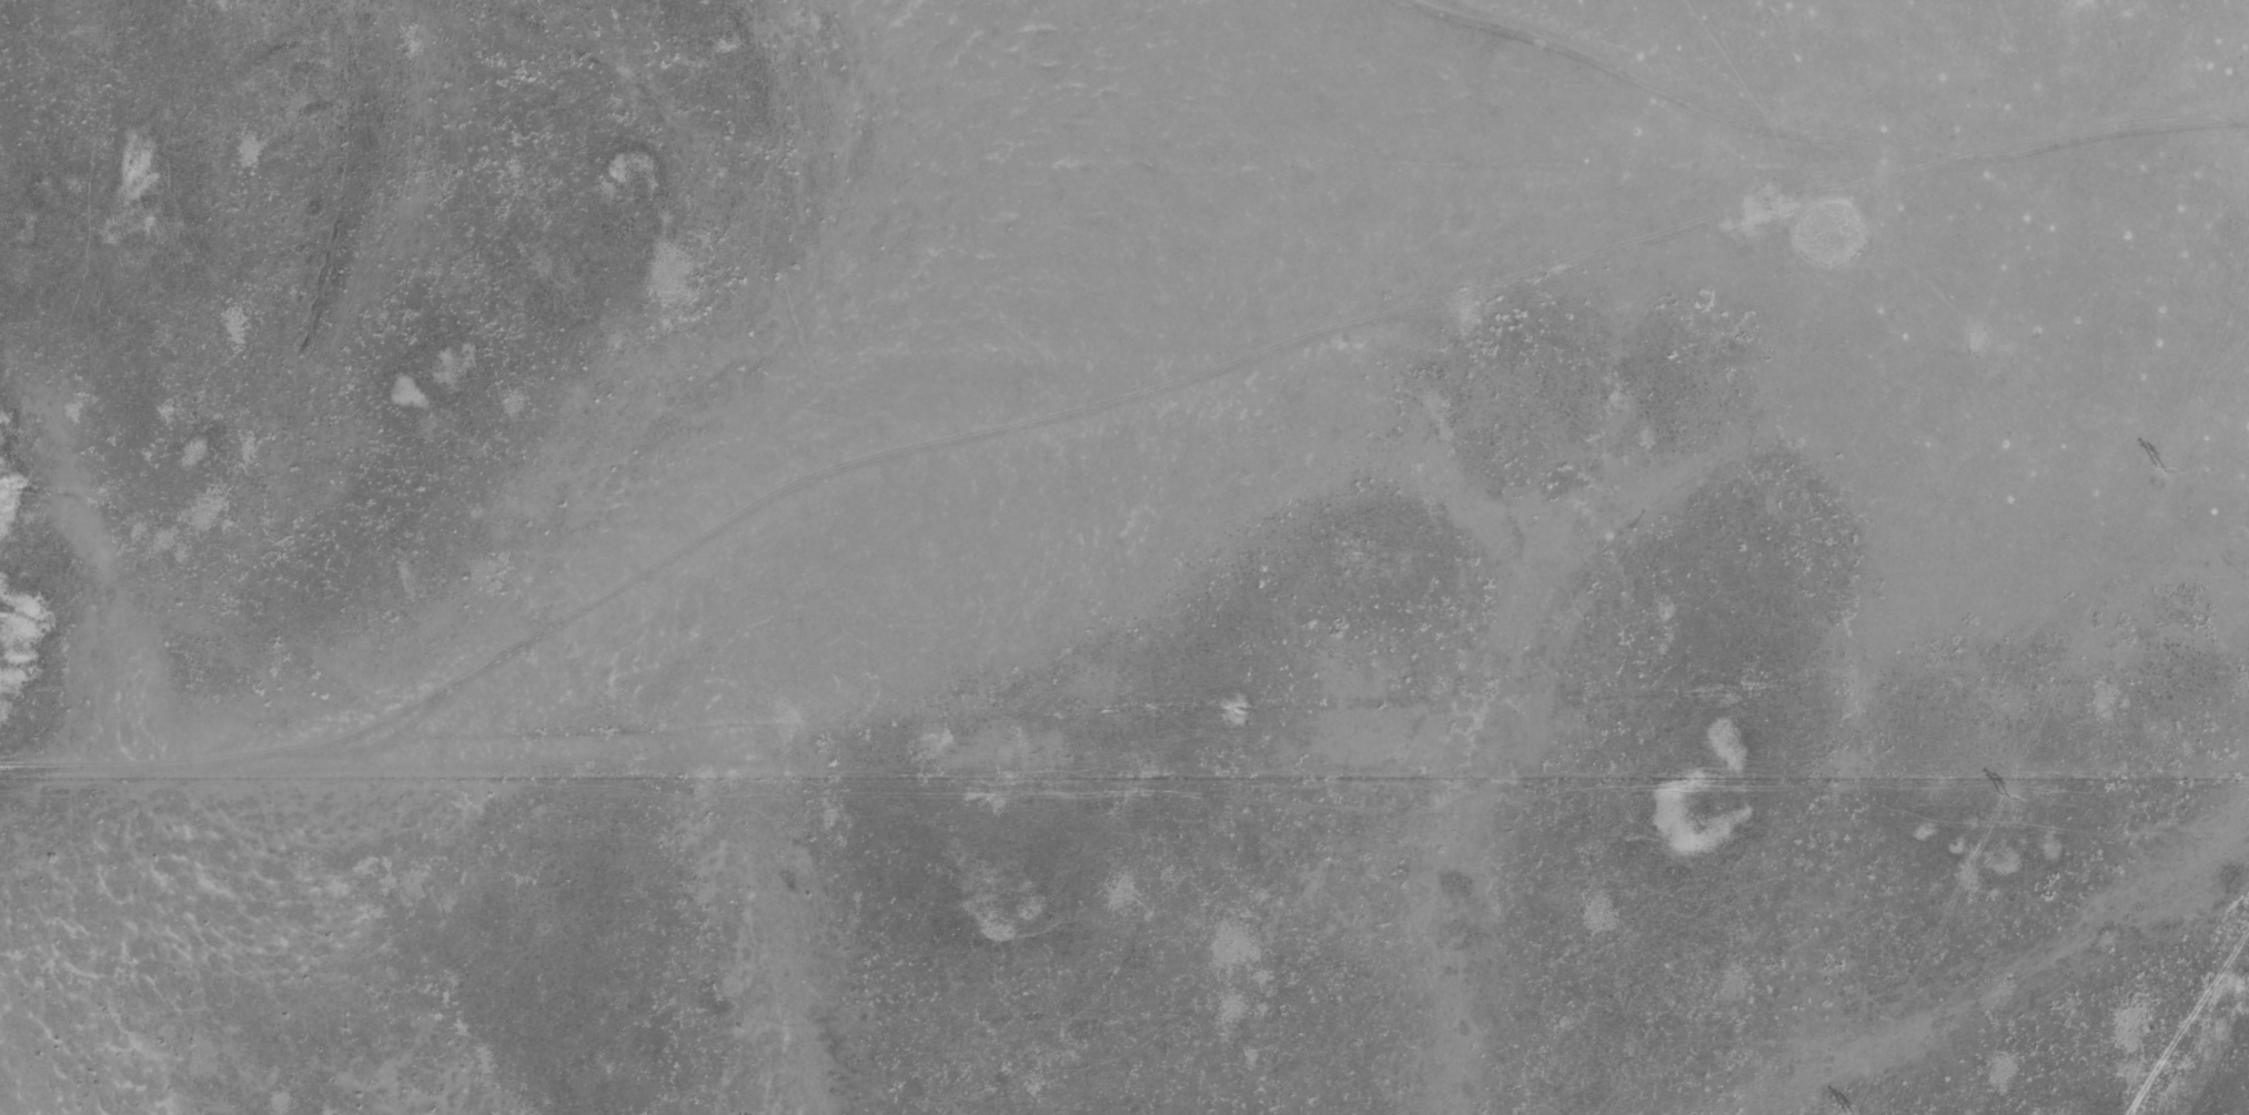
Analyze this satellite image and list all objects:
road: (1832, 183)
power tower: (2157, 463)
road: (909, 467)
power tower: (1999, 800)

